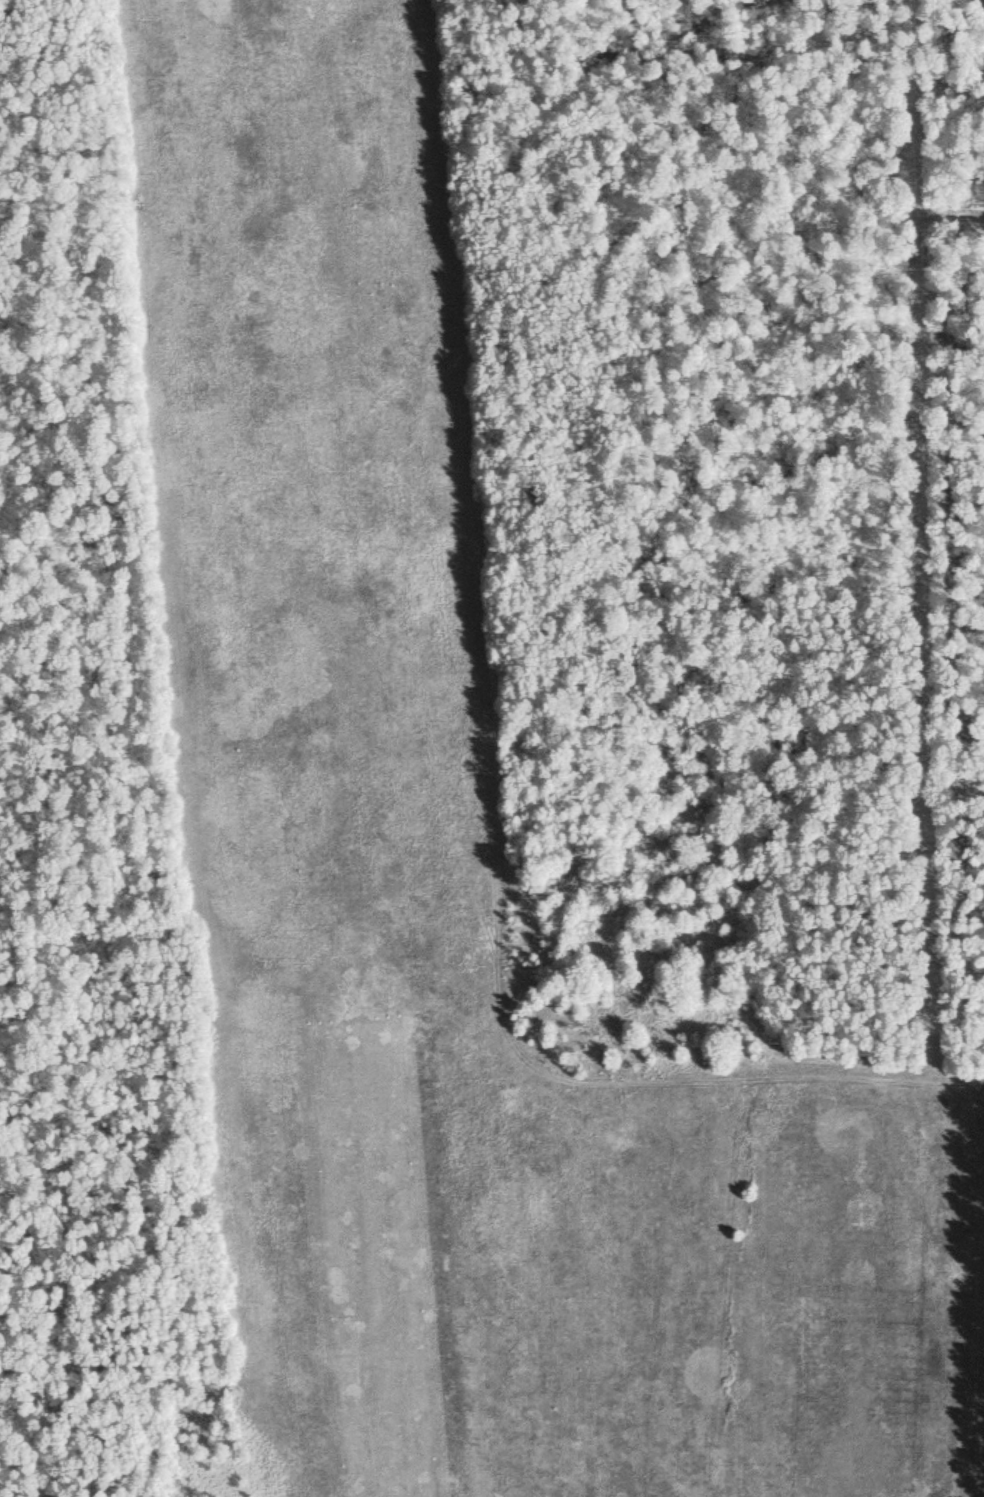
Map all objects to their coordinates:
airport runway: (362, 1256)

